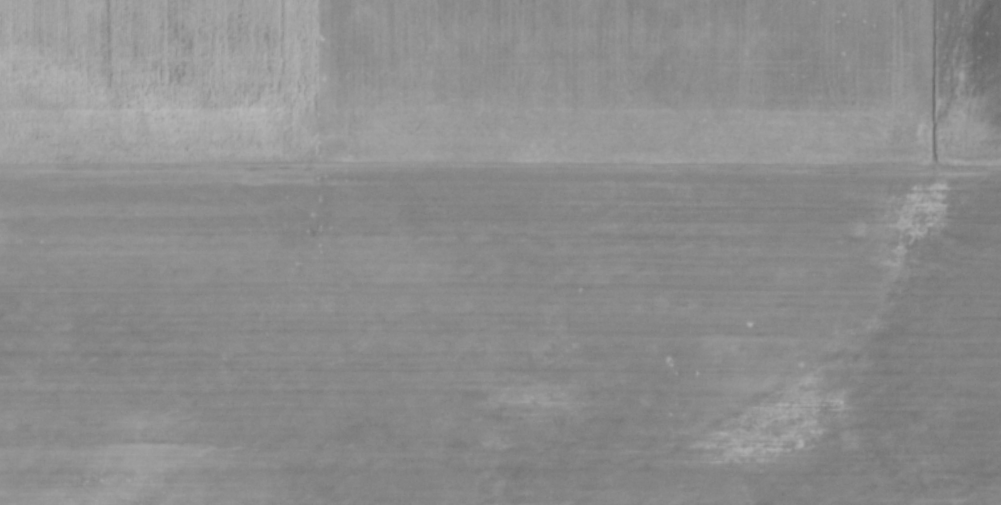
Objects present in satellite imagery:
crop: (504, 82)

